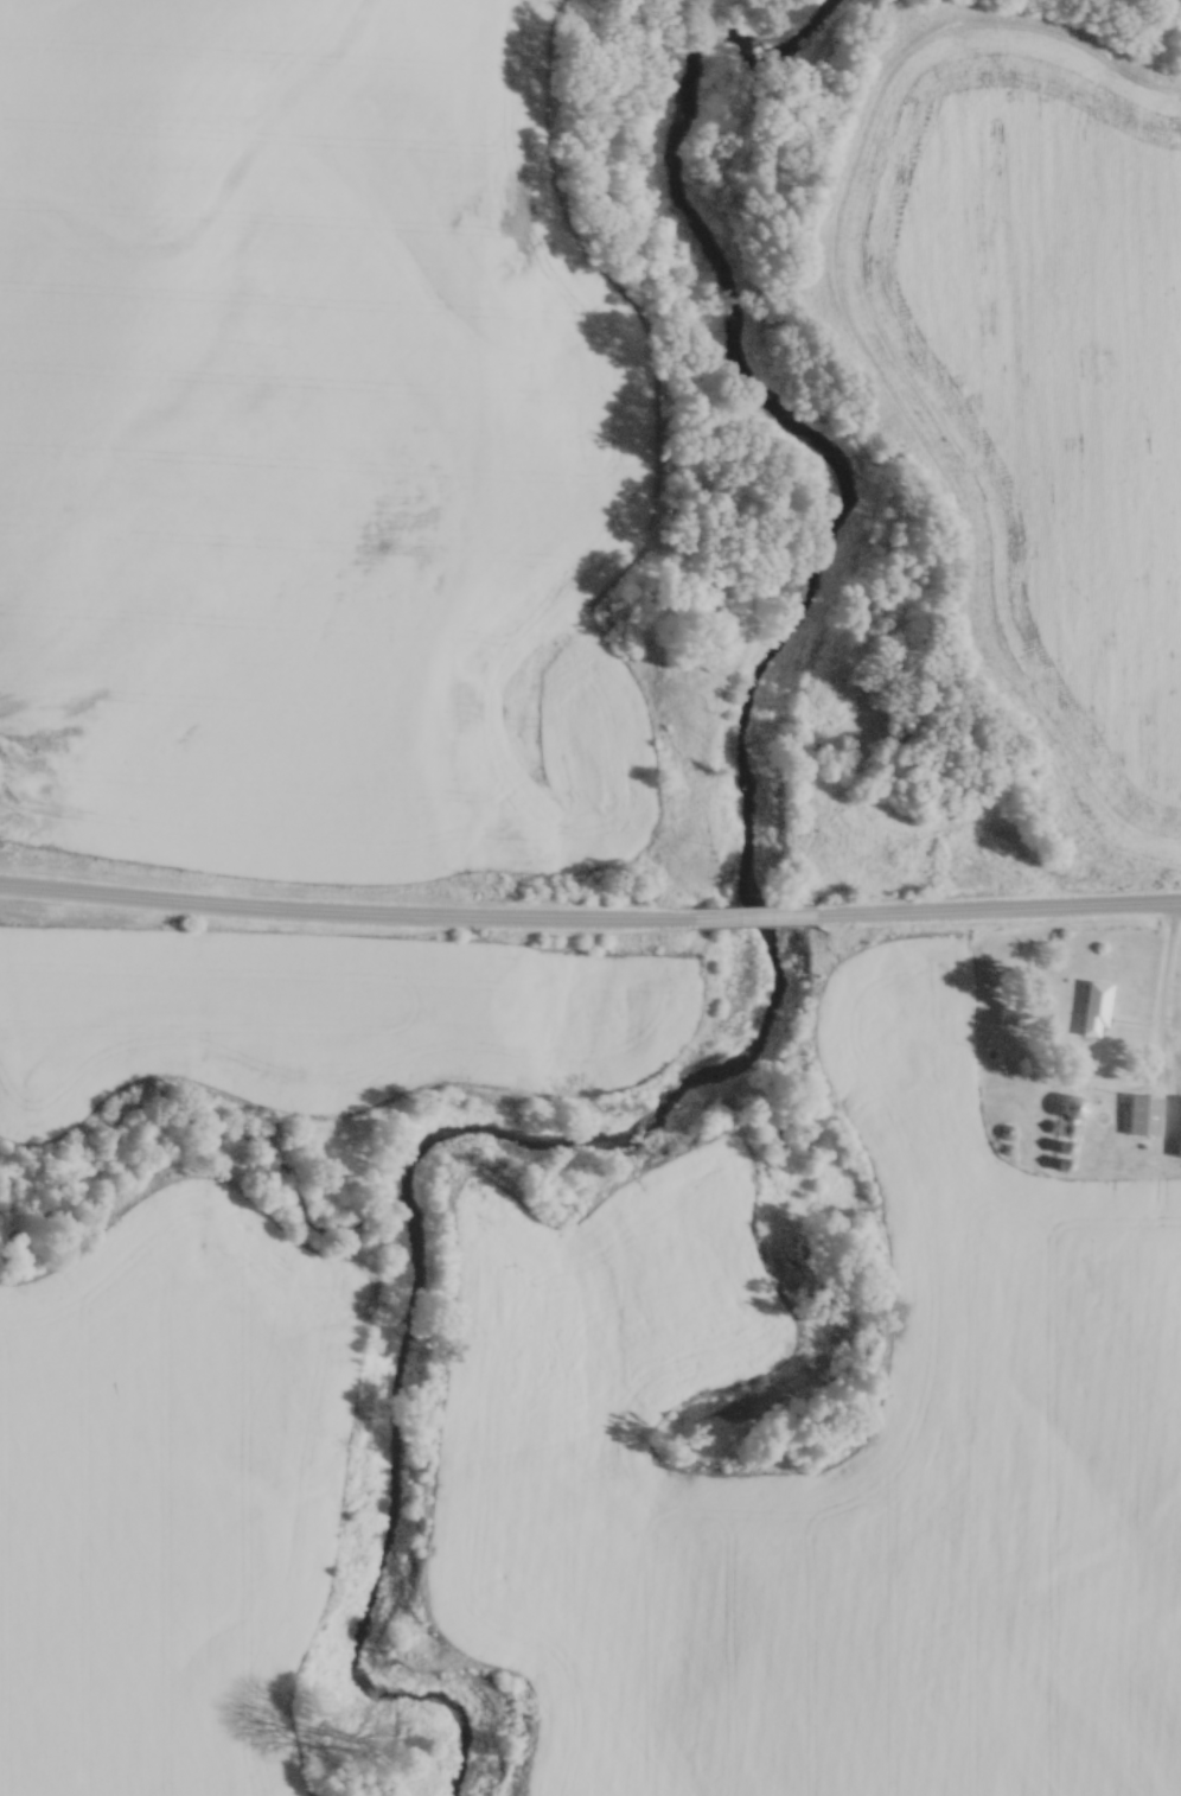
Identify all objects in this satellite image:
road: (996, 906)
road: (345, 909)
road: (752, 915)
road: (1166, 970)
building: (1096, 1006)
building: (1008, 1014)
building: (1073, 1103)
building: (1144, 1112)

